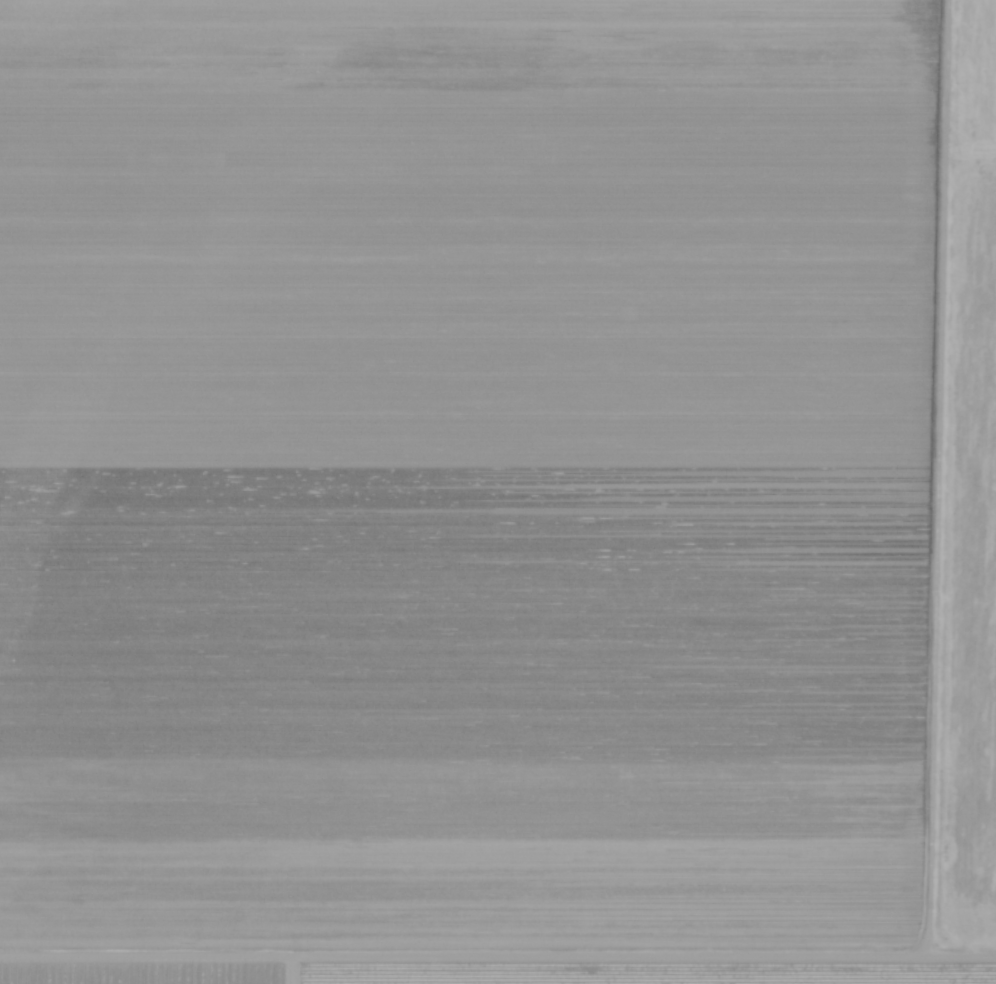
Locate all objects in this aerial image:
crop: (498, 492)

